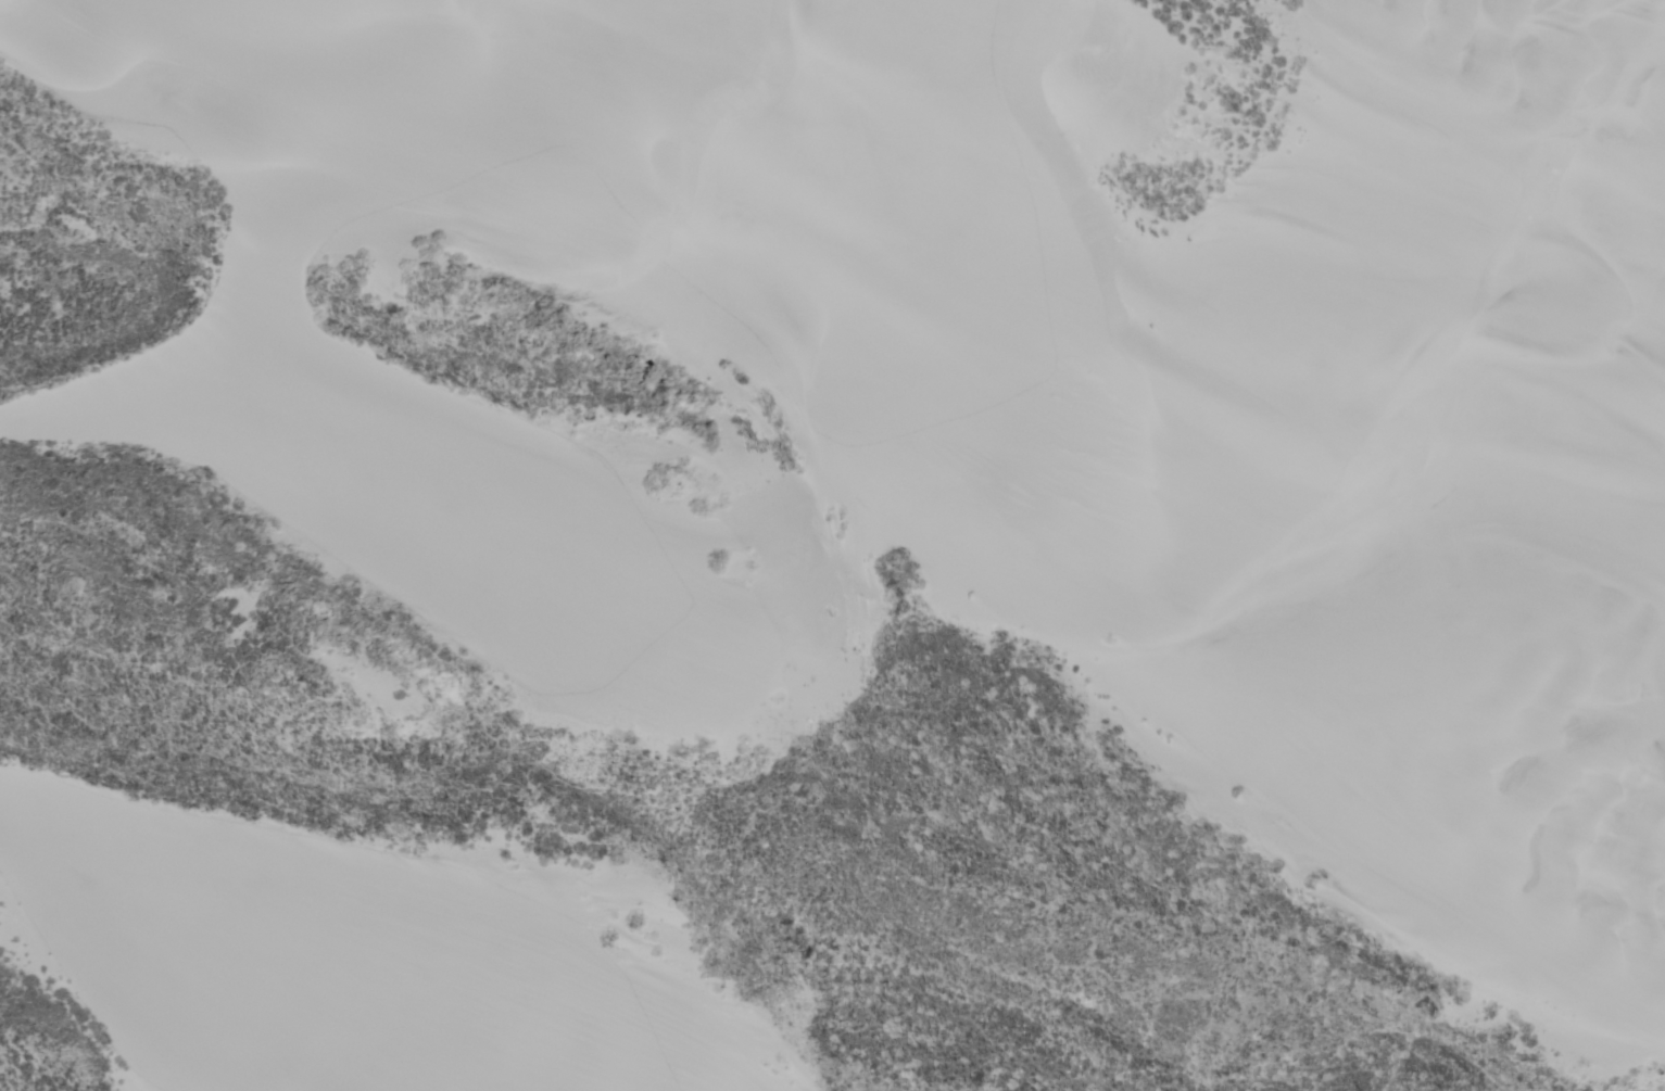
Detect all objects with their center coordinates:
park: (847, 536)

